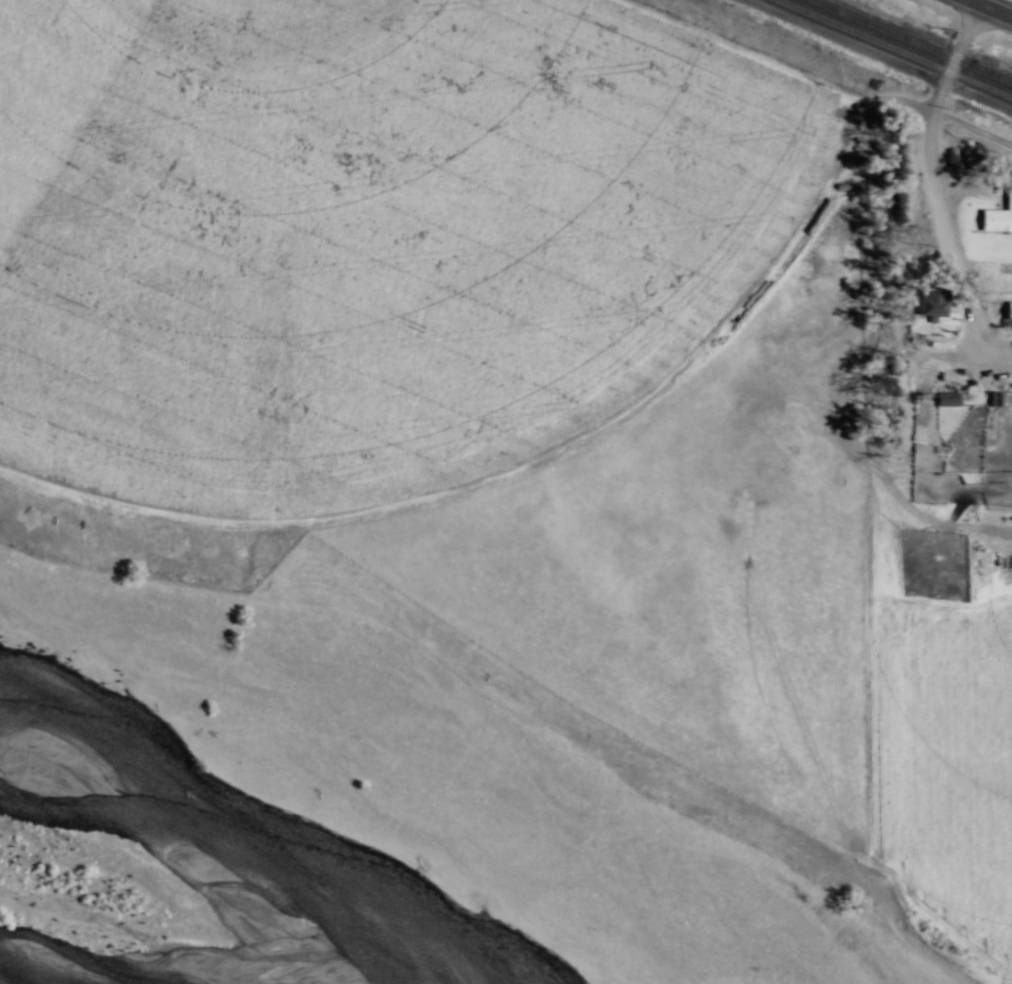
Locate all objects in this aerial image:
road: (992, 7)
railway: (912, 41)
railway: (895, 48)
road: (935, 175)
road: (963, 184)
building: (998, 217)
building: (933, 301)
building: (1010, 311)
building: (948, 398)

